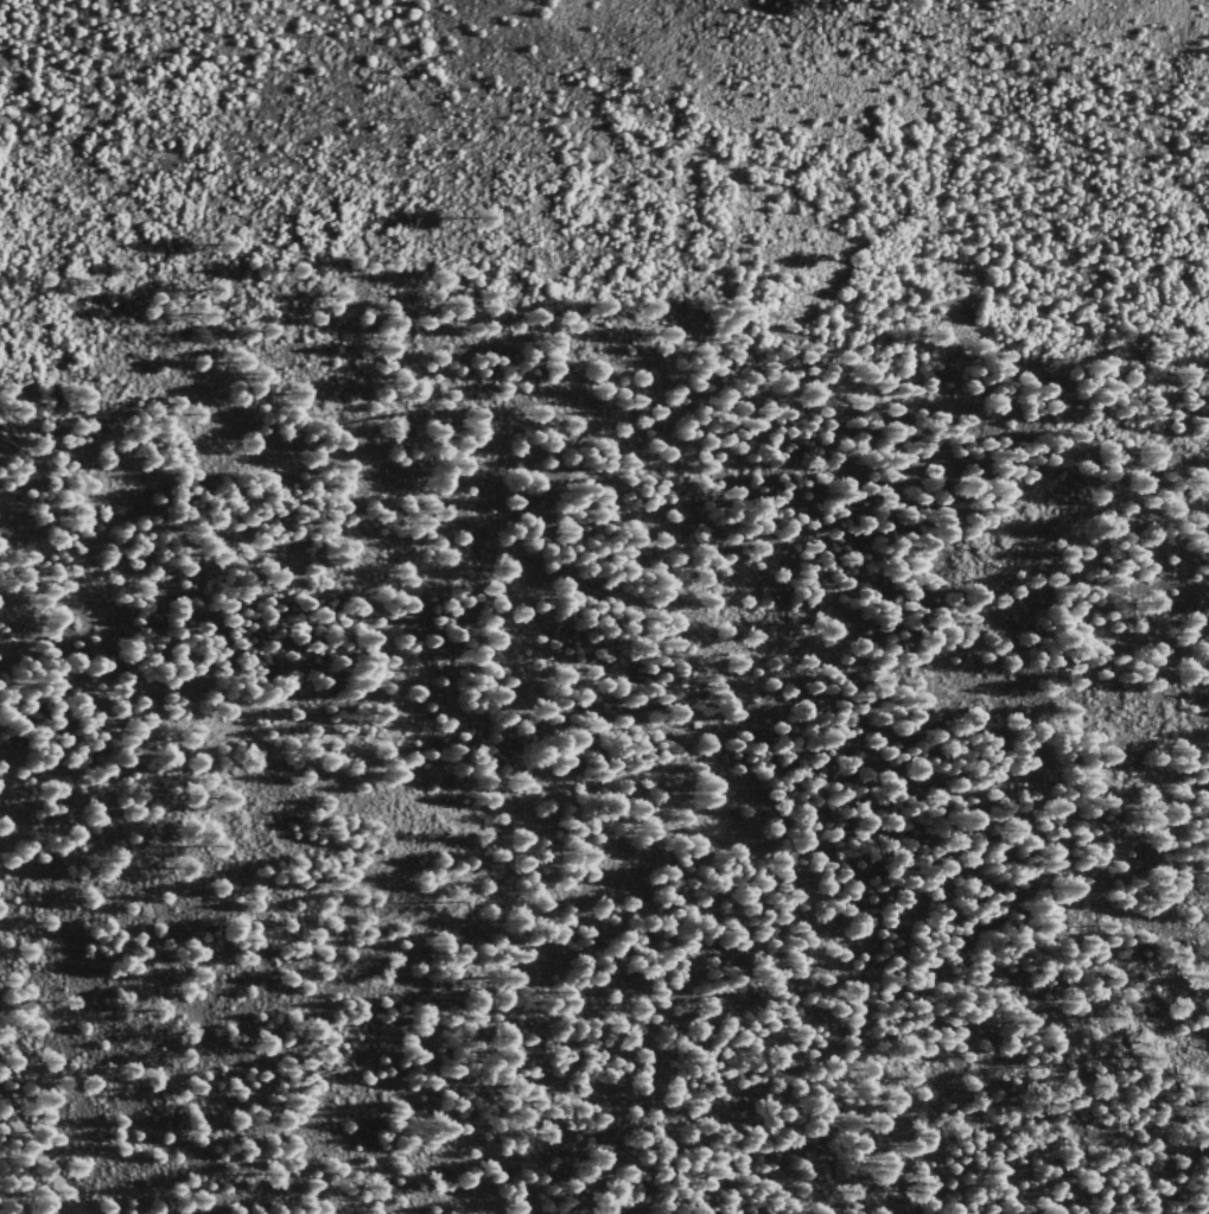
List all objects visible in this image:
road: (43, 1156)

